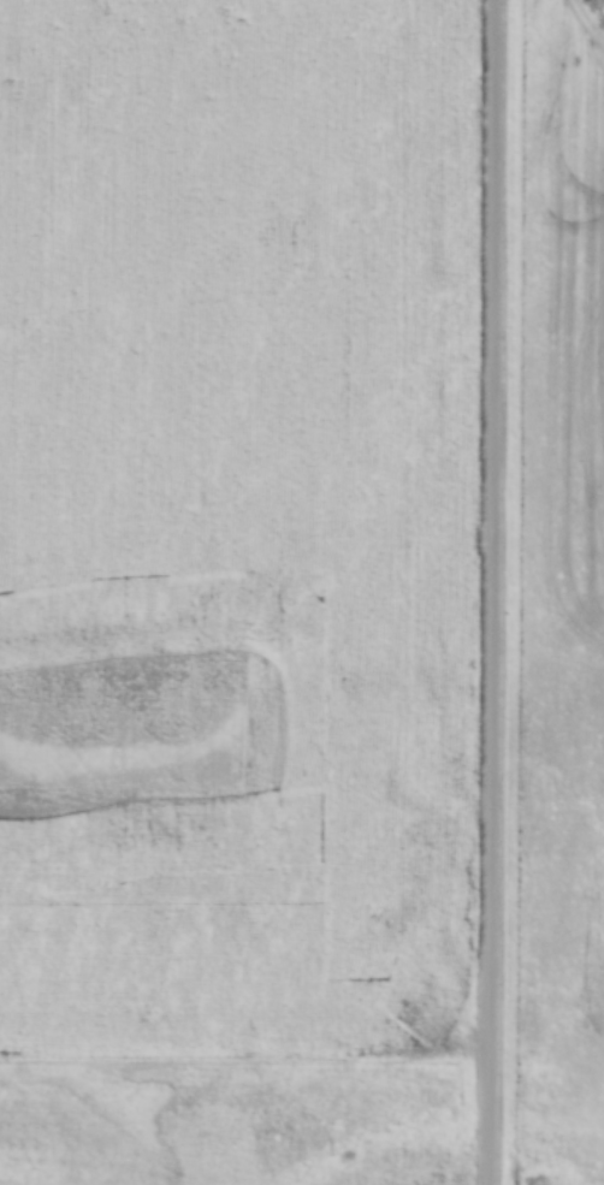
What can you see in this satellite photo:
road: (495, 592)

